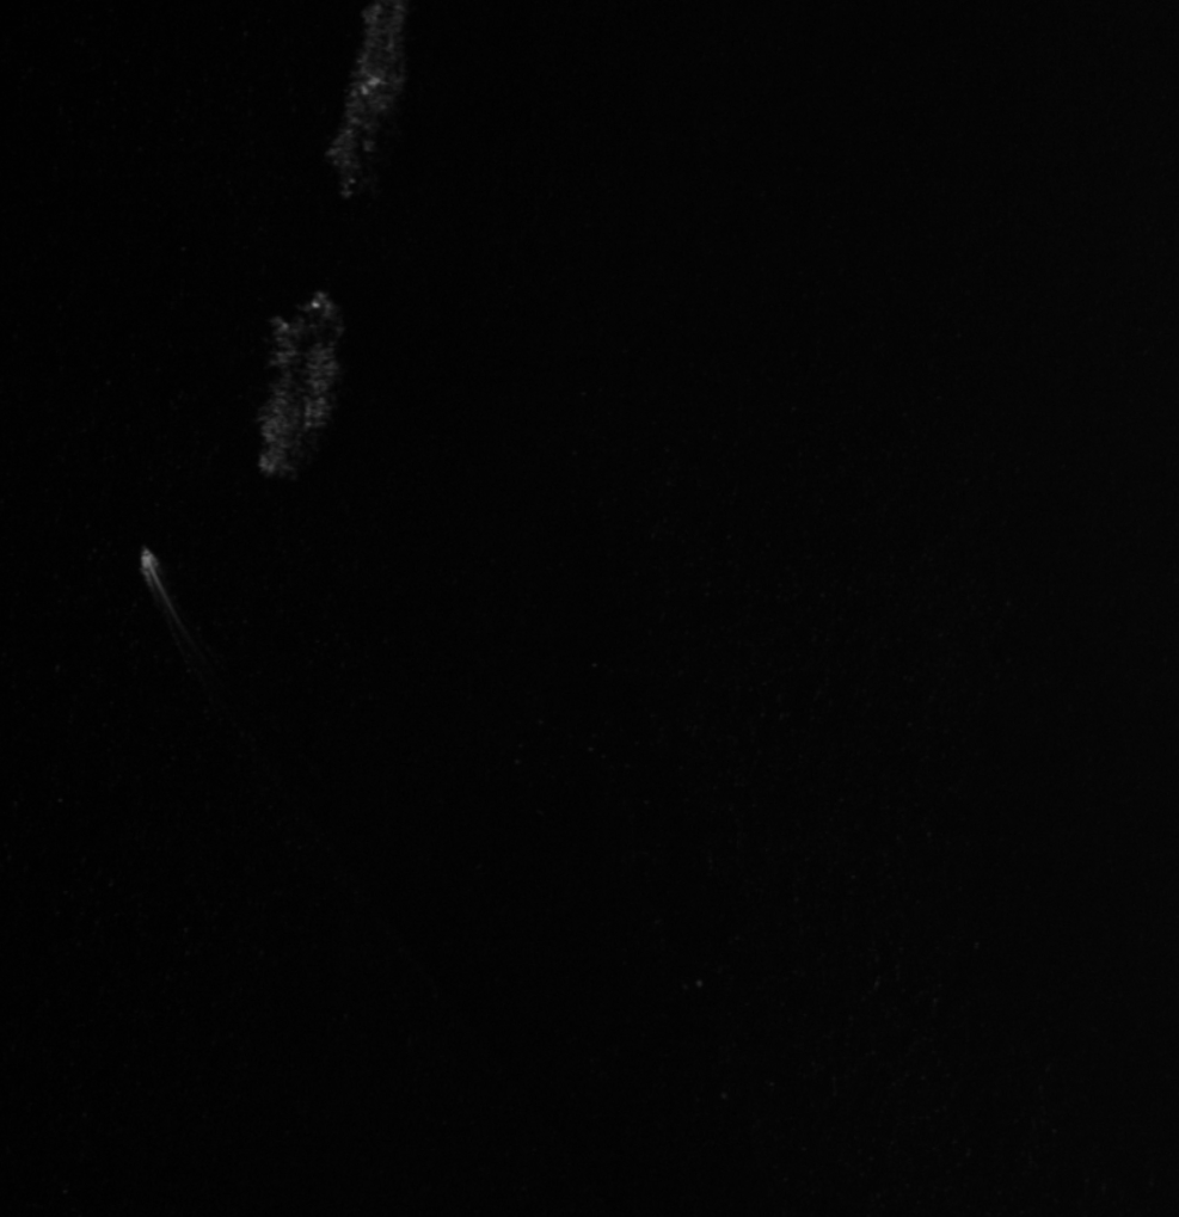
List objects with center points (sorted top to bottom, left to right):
river: (716, 399)
river: (959, 608)
river: (632, 1008)

